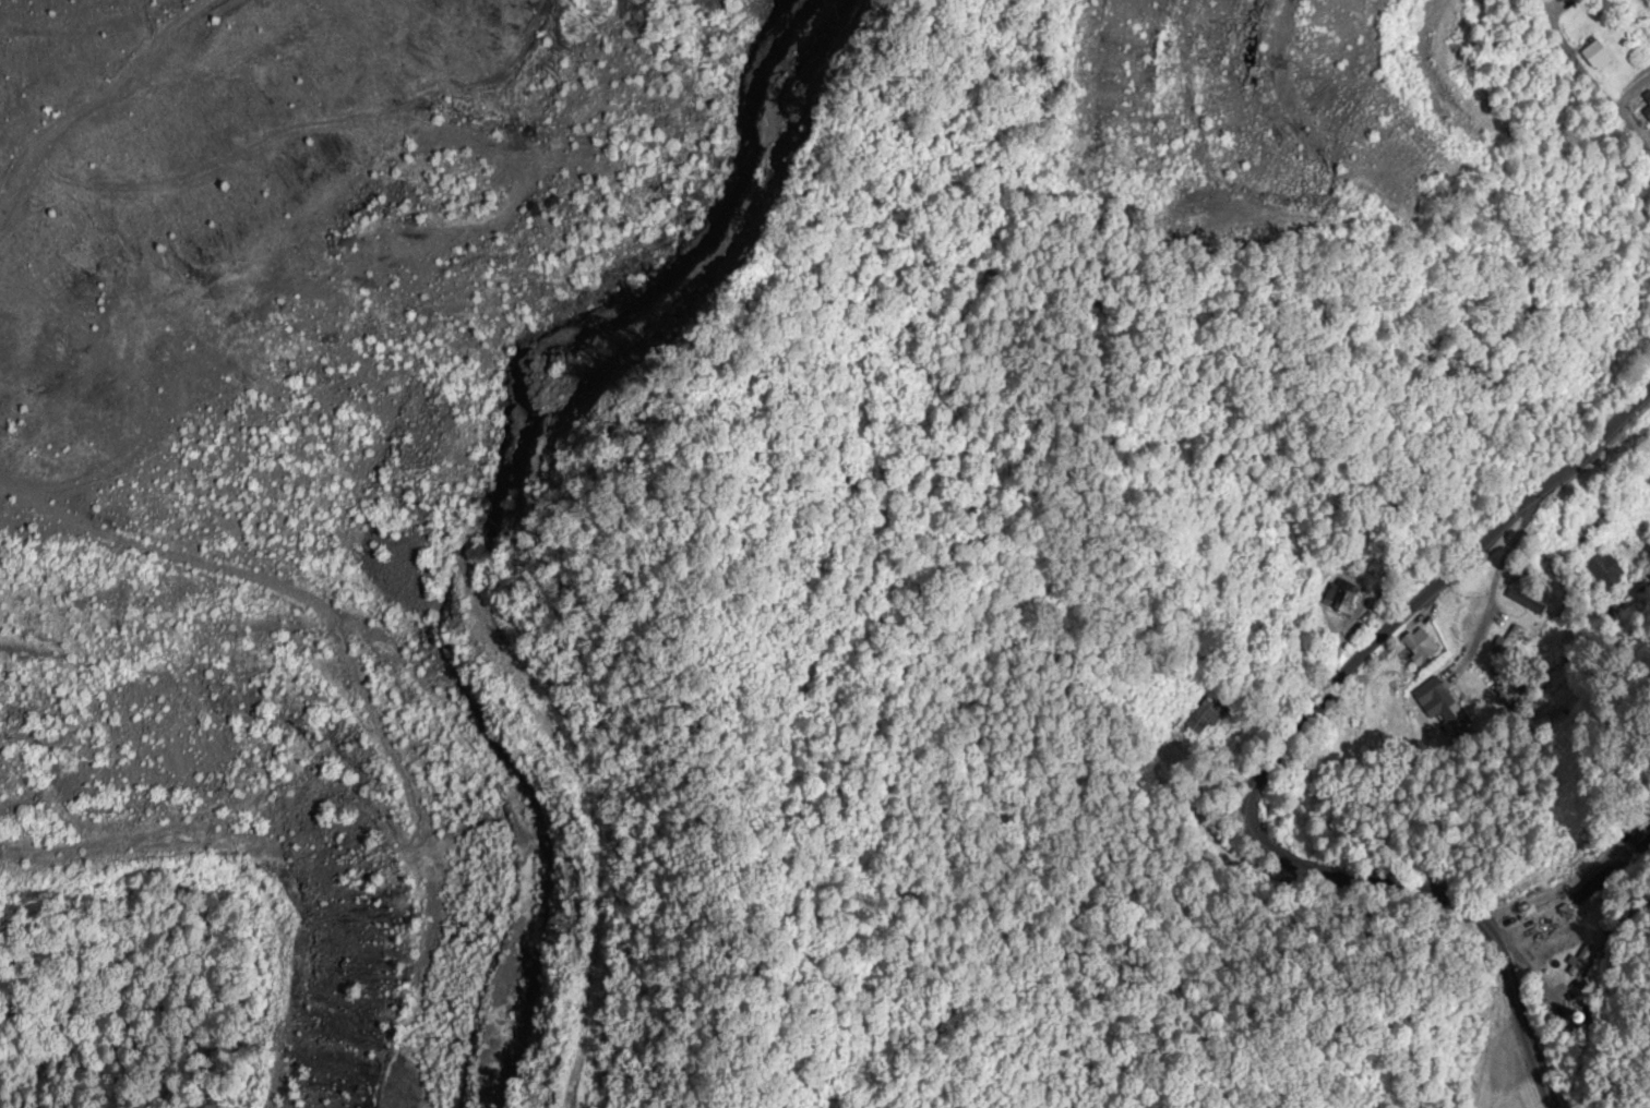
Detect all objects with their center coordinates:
building: (1600, 56)
building: (1605, 571)
building: (1338, 598)
road: (1072, 635)
building: (1425, 646)
building: (1440, 707)
building: (1210, 714)
road: (1271, 760)

